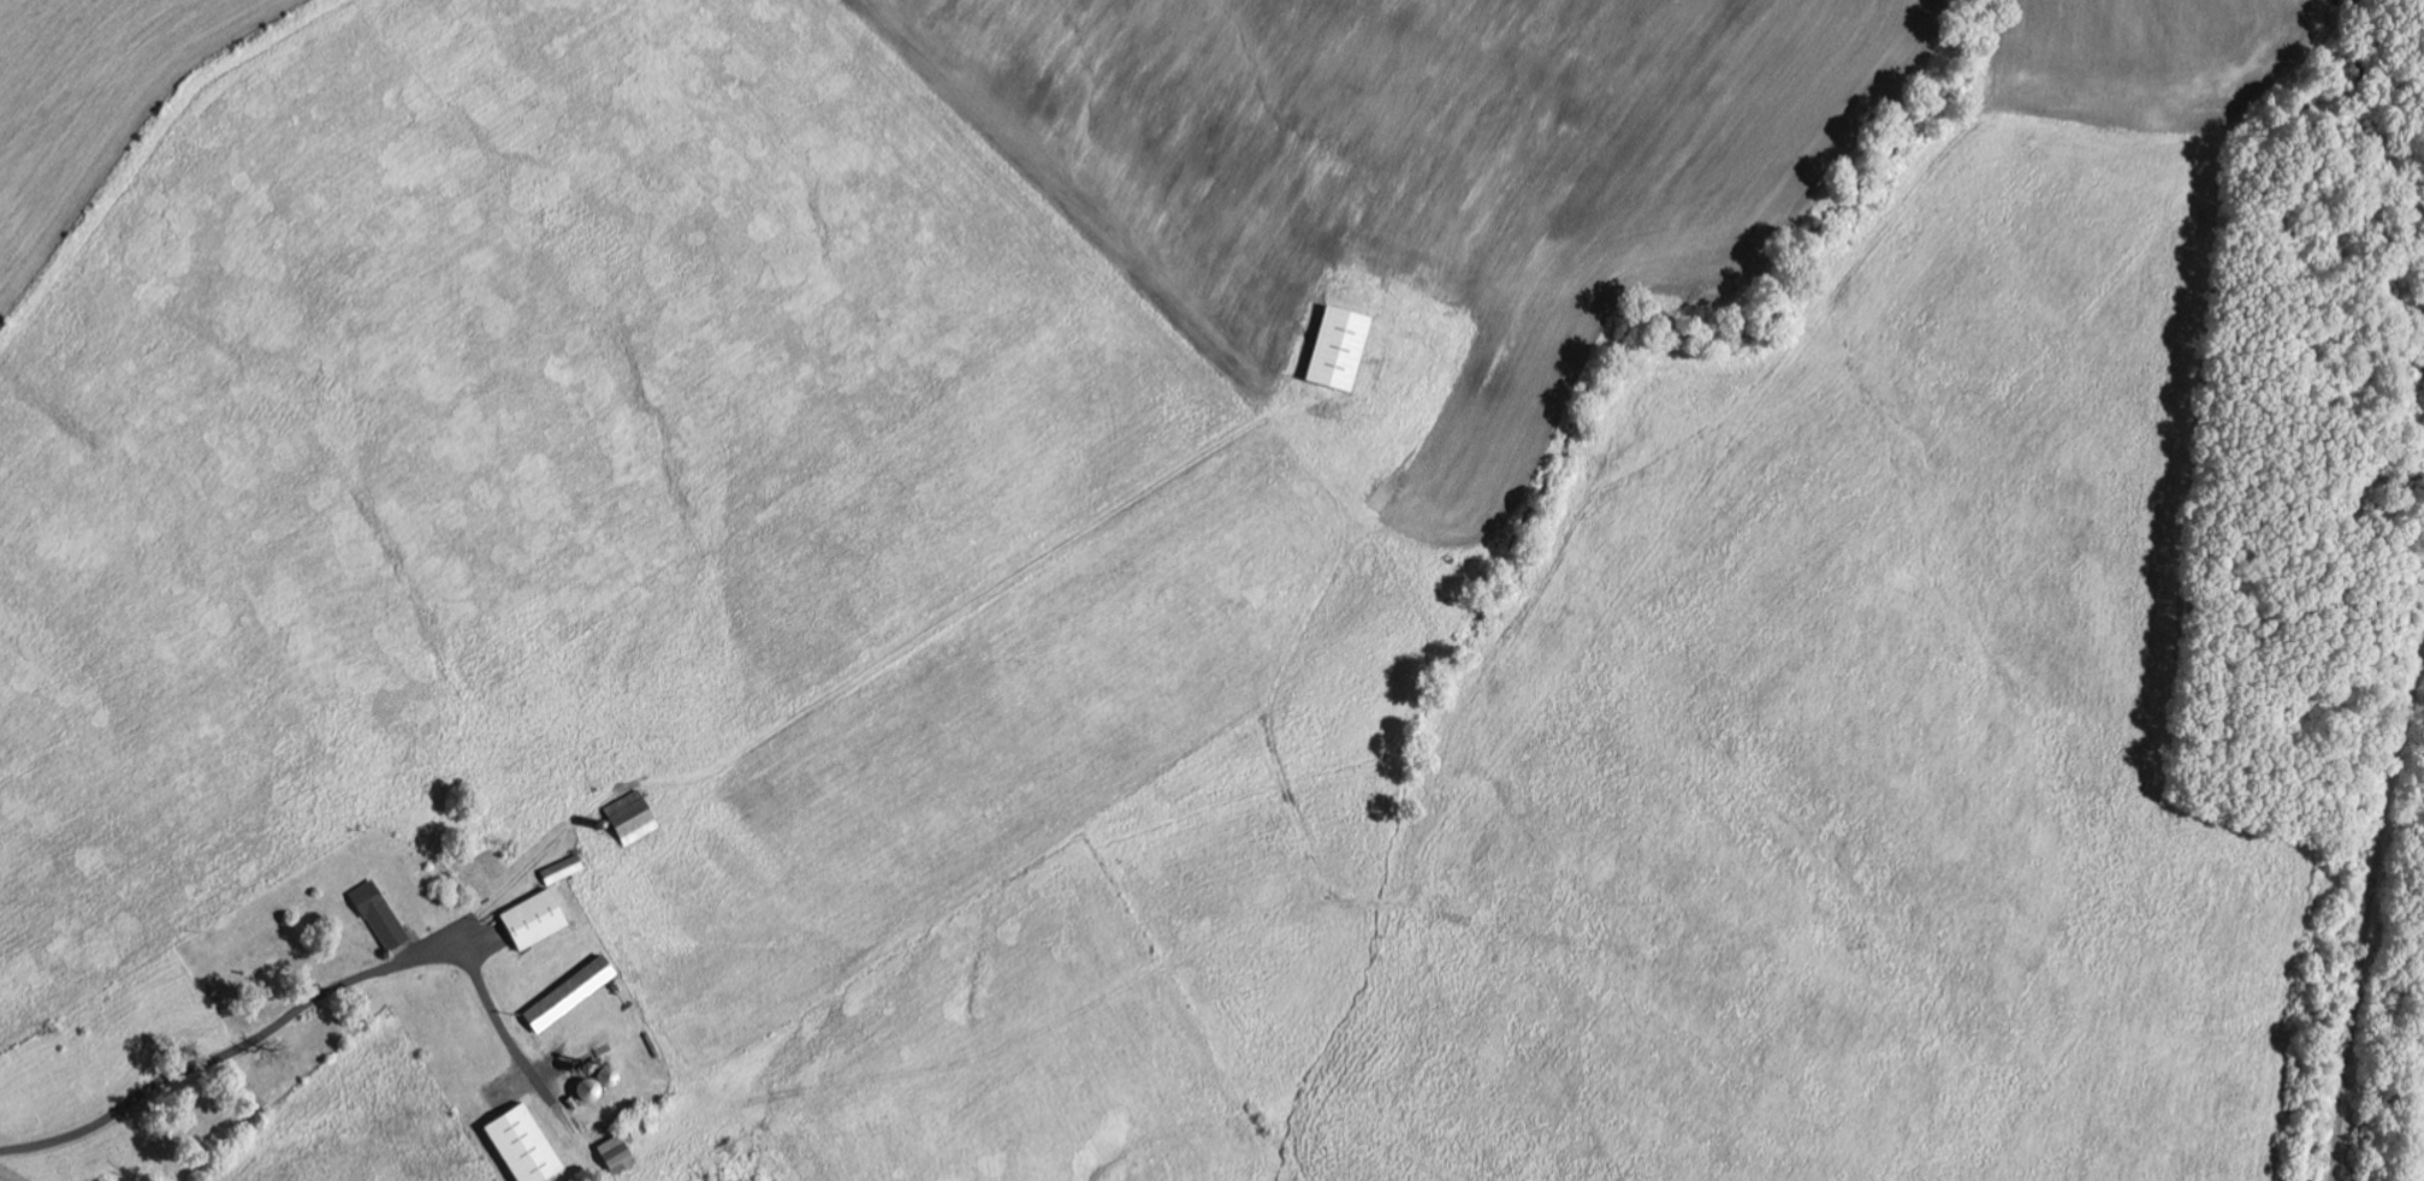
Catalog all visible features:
building: (1340, 351)
building: (633, 819)
building: (563, 871)
building: (381, 915)
building: (535, 920)
building: (571, 995)
building: (524, 1146)

